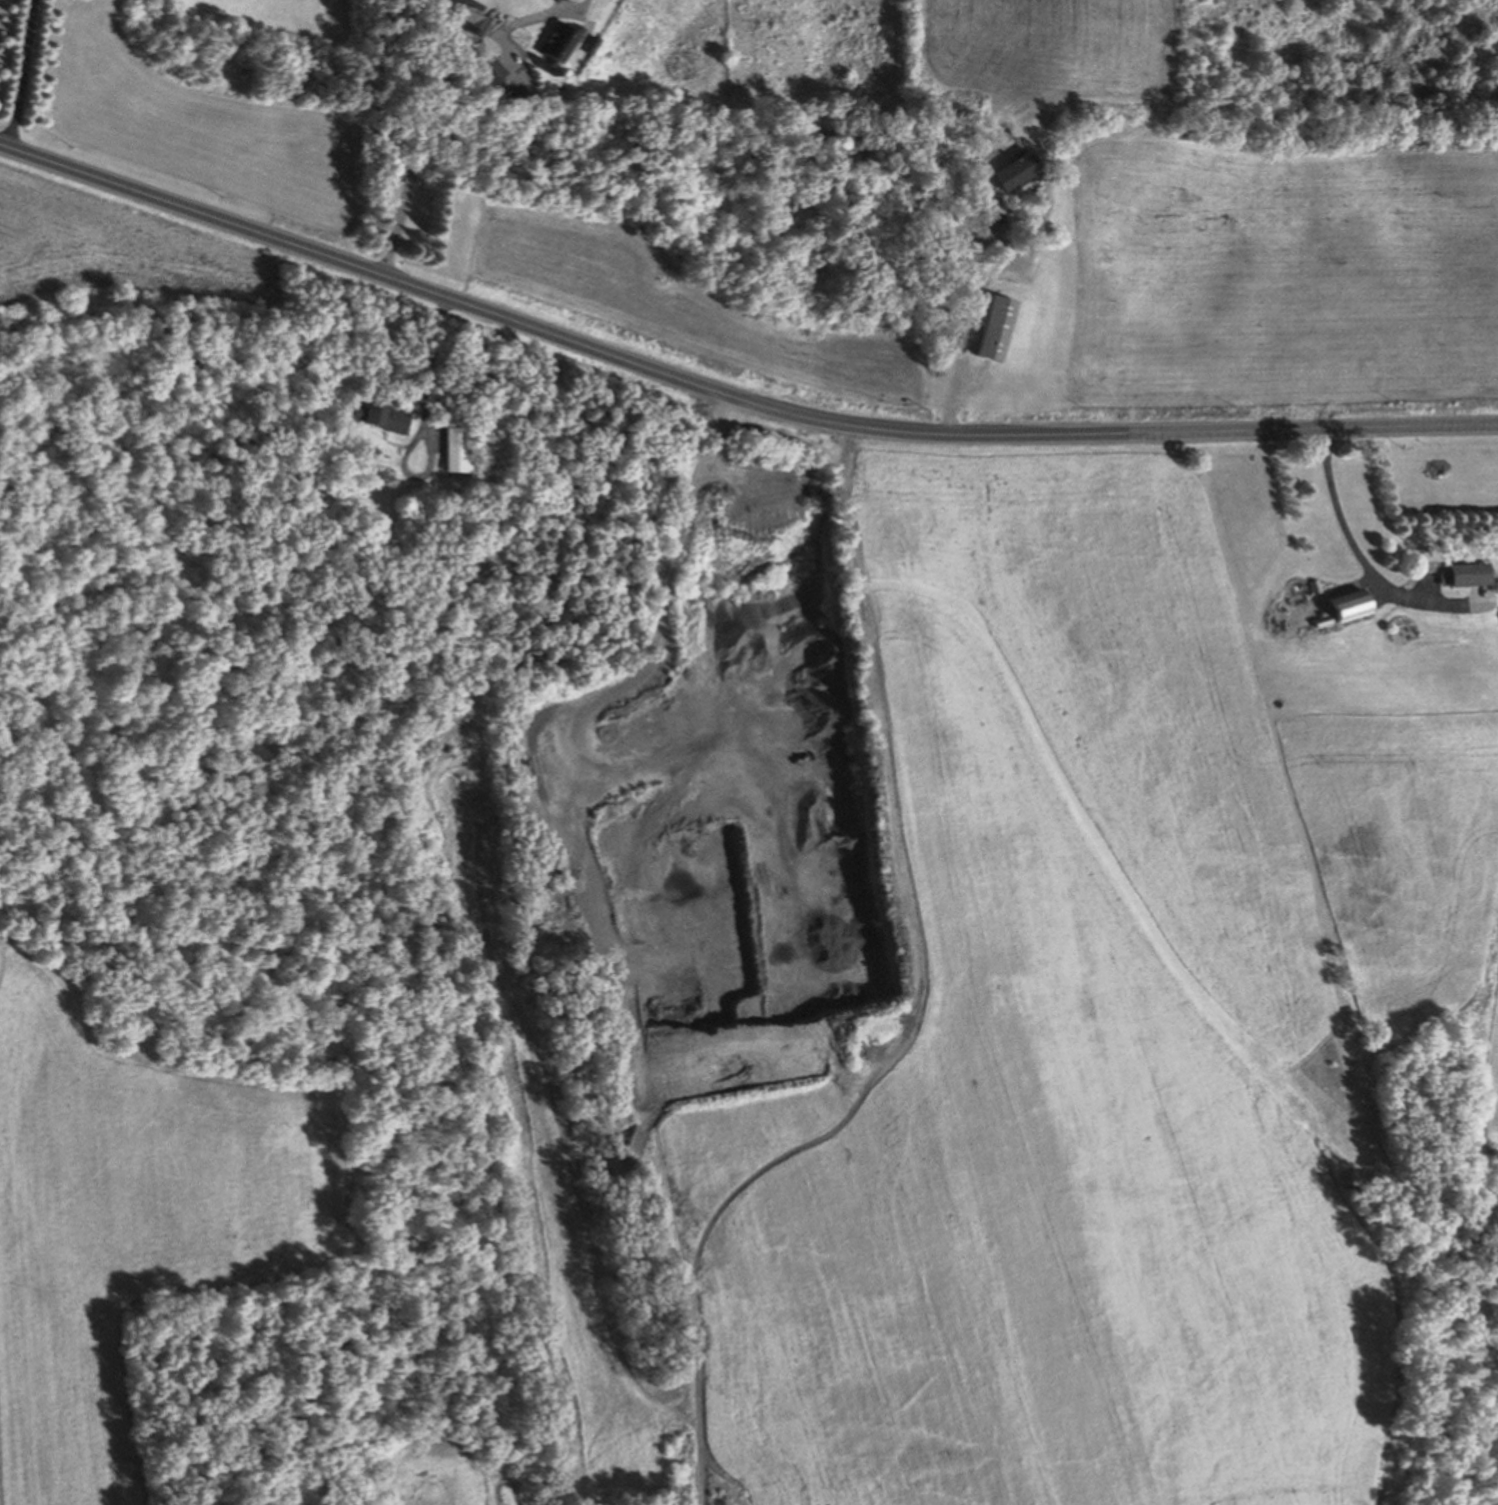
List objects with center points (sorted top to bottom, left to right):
building: (467, 16)
building: (563, 40)
building: (592, 44)
building: (490, 69)
road: (25, 73)
road: (438, 110)
building: (1015, 170)
road: (970, 299)
building: (996, 327)
road: (730, 393)
building: (381, 415)
road: (423, 423)
building: (457, 451)
road: (1359, 563)
building: (1471, 574)
building: (1351, 605)
quarry: (720, 756)
road: (616, 759)
road: (905, 819)

